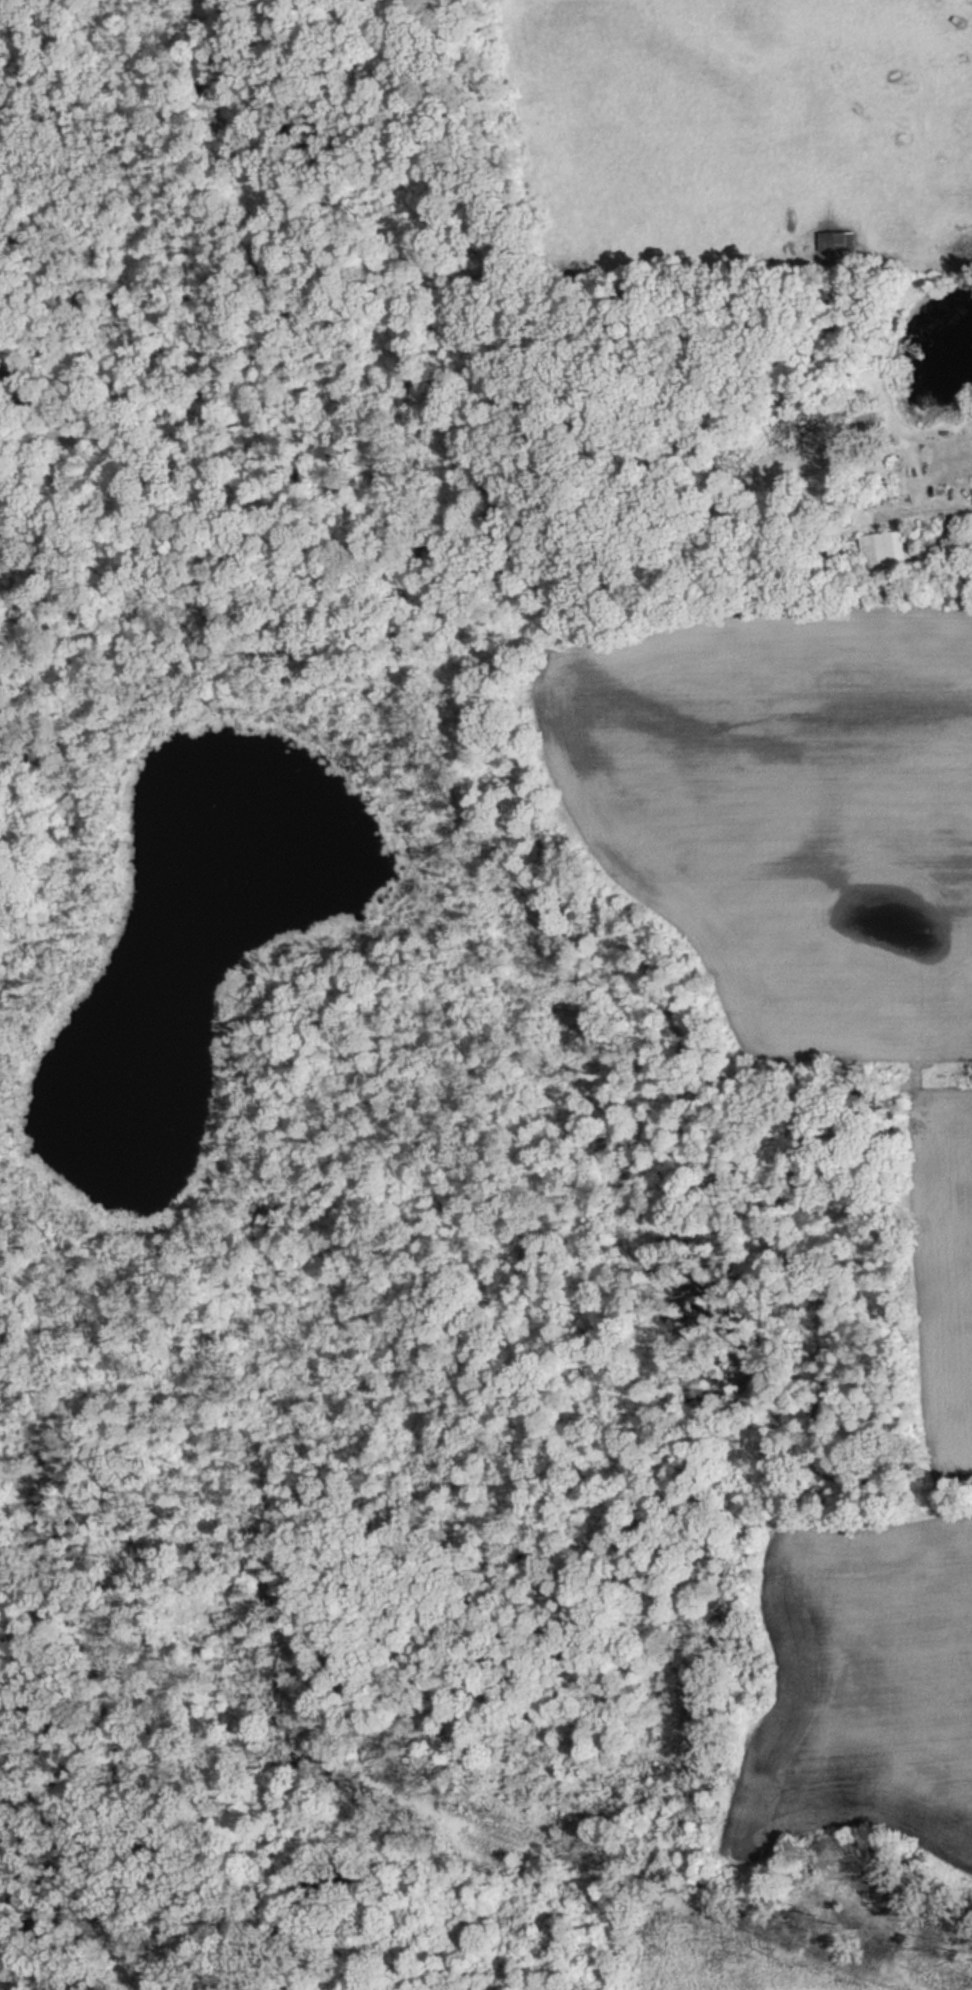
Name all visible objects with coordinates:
building: (883, 549)

